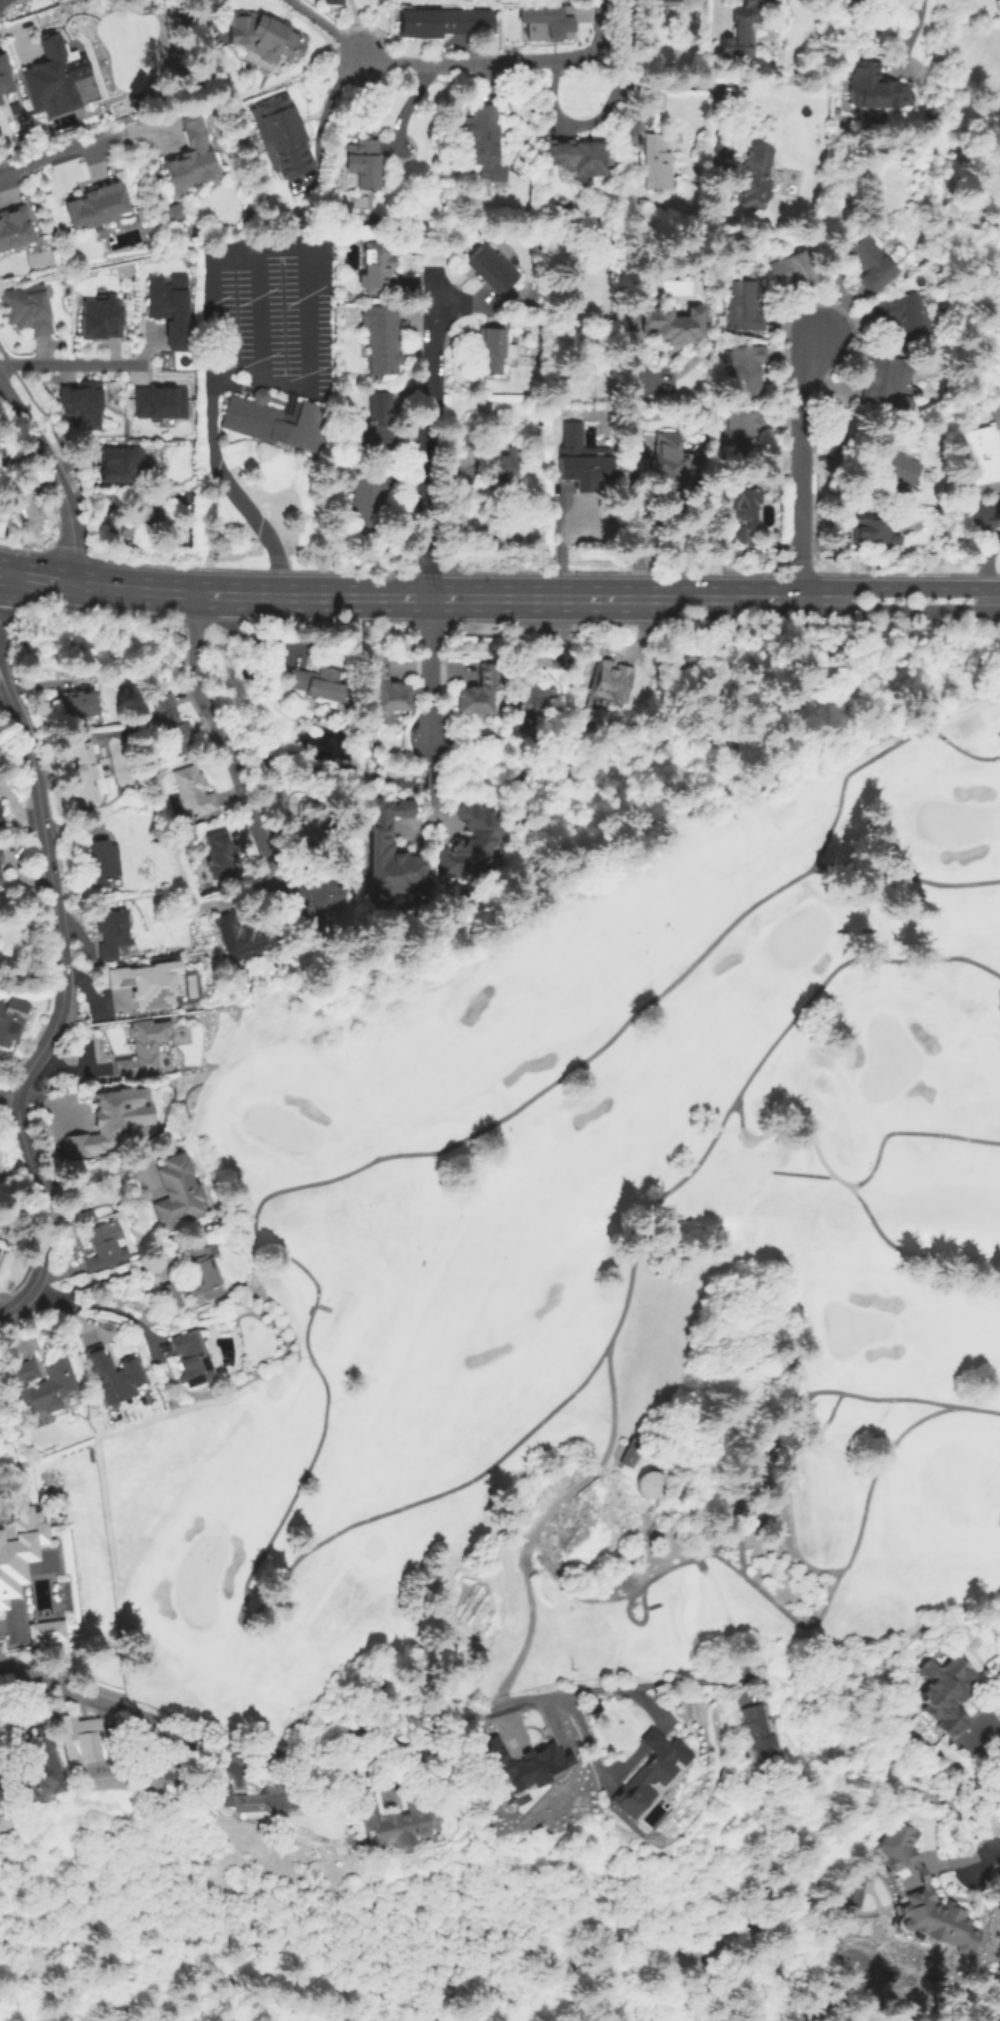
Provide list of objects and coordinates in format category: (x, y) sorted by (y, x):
building: (882, 0)
building: (664, 1)
building: (333, 2)
building: (861, 2)
building: (802, 14)
road: (206, 17)
building: (445, 22)
building: (546, 22)
road: (323, 26)
road: (370, 31)
building: (741, 31)
road: (909, 31)
building: (262, 37)
road: (498, 59)
building: (256, 60)
building: (4, 78)
building: (52, 81)
building: (875, 90)
road: (689, 92)
road: (590, 117)
building: (482, 135)
building: (282, 138)
road: (68, 150)
building: (194, 157)
building: (581, 157)
building: (364, 163)
building: (657, 163)
building: (753, 178)
building: (99, 203)
building: (172, 210)
building: (317, 220)
building: (16, 227)
road: (215, 261)
building: (869, 263)
building: (377, 268)
building: (491, 269)
building: (794, 270)
building: (743, 307)
building: (173, 308)
building: (29, 311)
road: (259, 314)
building: (901, 317)
building: (104, 321)
building: (672, 321)
building: (383, 339)
building: (491, 349)
road: (71, 363)
building: (745, 369)
building: (884, 379)
building: (80, 396)
building: (158, 401)
road: (802, 403)
building: (275, 419)
building: (379, 422)
road: (426, 436)
building: (744, 438)
building: (473, 439)
building: (843, 456)
building: (984, 457)
building: (3, 461)
building: (585, 461)
building: (119, 463)
building: (503, 466)
building: (671, 466)
building: (898, 470)
road: (55, 476)
road: (629, 480)
building: (188, 498)
building: (368, 503)
building: (28, 506)
building: (153, 511)
building: (741, 513)
building: (130, 529)
building: (874, 530)
road: (801, 537)
building: (130, 547)
road: (987, 550)
road: (12, 573)
road: (46, 579)
road: (3, 584)
road: (913, 586)
road: (454, 597)
road: (993, 599)
road: (913, 611)
road: (426, 669)
road: (192, 673)
road: (1, 679)
building: (612, 681)
road: (1, 684)
building: (319, 684)
building: (391, 689)
building: (482, 691)
building: (508, 694)
building: (536, 697)
building: (78, 705)
building: (173, 727)
building: (91, 772)
building: (194, 792)
road: (249, 807)
building: (0, 817)
road: (831, 821)
building: (309, 822)
building: (475, 840)
building: (396, 852)
building: (220, 854)
building: (1, 856)
building: (105, 864)
building: (1, 880)
building: (313, 901)
building: (113, 934)
building: (244, 936)
building: (240, 969)
building: (146, 983)
road: (56, 1010)
building: (12, 1019)
road: (777, 1035)
building: (144, 1046)
road: (9, 1096)
building: (109, 1120)
road: (907, 1132)
road: (99, 1172)
building: (178, 1192)
road: (648, 1203)
building: (85, 1217)
building: (105, 1246)
road: (907, 1249)
building: (193, 1277)
park: (601, 1277)
road: (97, 1304)
road: (309, 1315)
building: (191, 1359)
building: (114, 1376)
building: (44, 1383)
road: (779, 1399)
road: (610, 1408)
road: (978, 1409)
road: (811, 1430)
building: (630, 1453)
road: (876, 1470)
building: (646, 1486)
road: (789, 1528)
building: (18, 1547)
road: (637, 1588)
road: (782, 1612)
building: (42, 1631)
road: (640, 1688)
building: (947, 1696)
building: (687, 1712)
road: (989, 1729)
building: (86, 1739)
building: (759, 1739)
road: (267, 1757)
building: (31, 1766)
road: (621, 1766)
building: (154, 1769)
building: (525, 1772)
building: (647, 1777)
building: (249, 1798)
road: (843, 1810)
building: (575, 1813)
building: (394, 1821)
building: (858, 1887)
building: (927, 1895)
park: (773, 1925)
road: (355, 1997)

